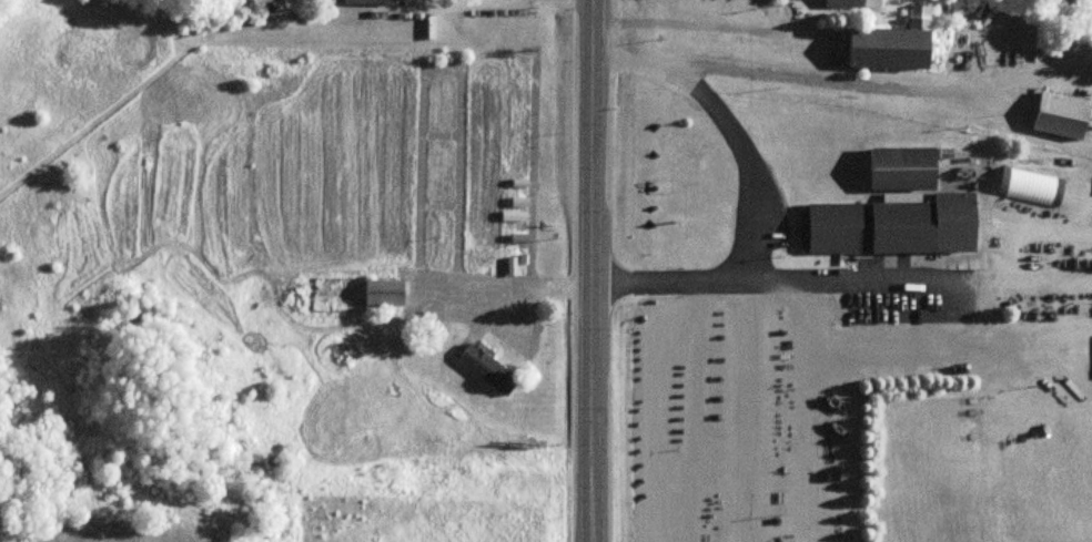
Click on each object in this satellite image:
building: (365, 2)
building: (850, 4)
building: (889, 44)
building: (1059, 116)
building: (900, 170)
building: (1028, 187)
building: (888, 227)
road: (595, 270)
building: (382, 294)
building: (1091, 359)
building: (486, 370)

